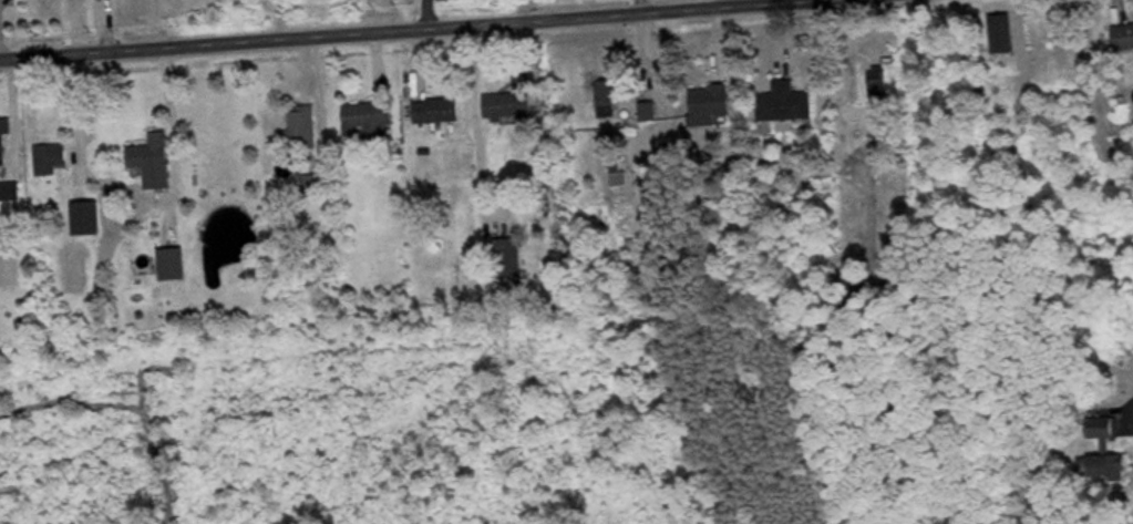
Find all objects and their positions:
road: (403, 28)
building: (1124, 39)
building: (880, 83)
building: (514, 103)
building: (608, 103)
building: (790, 104)
building: (713, 106)
building: (440, 112)
building: (650, 113)
building: (372, 123)
building: (307, 129)
building: (6, 133)
building: (153, 154)
building: (52, 161)
building: (619, 172)
building: (319, 184)
building: (11, 193)
building: (89, 220)
building: (60, 225)
building: (511, 260)
building: (174, 266)
building: (1106, 456)

